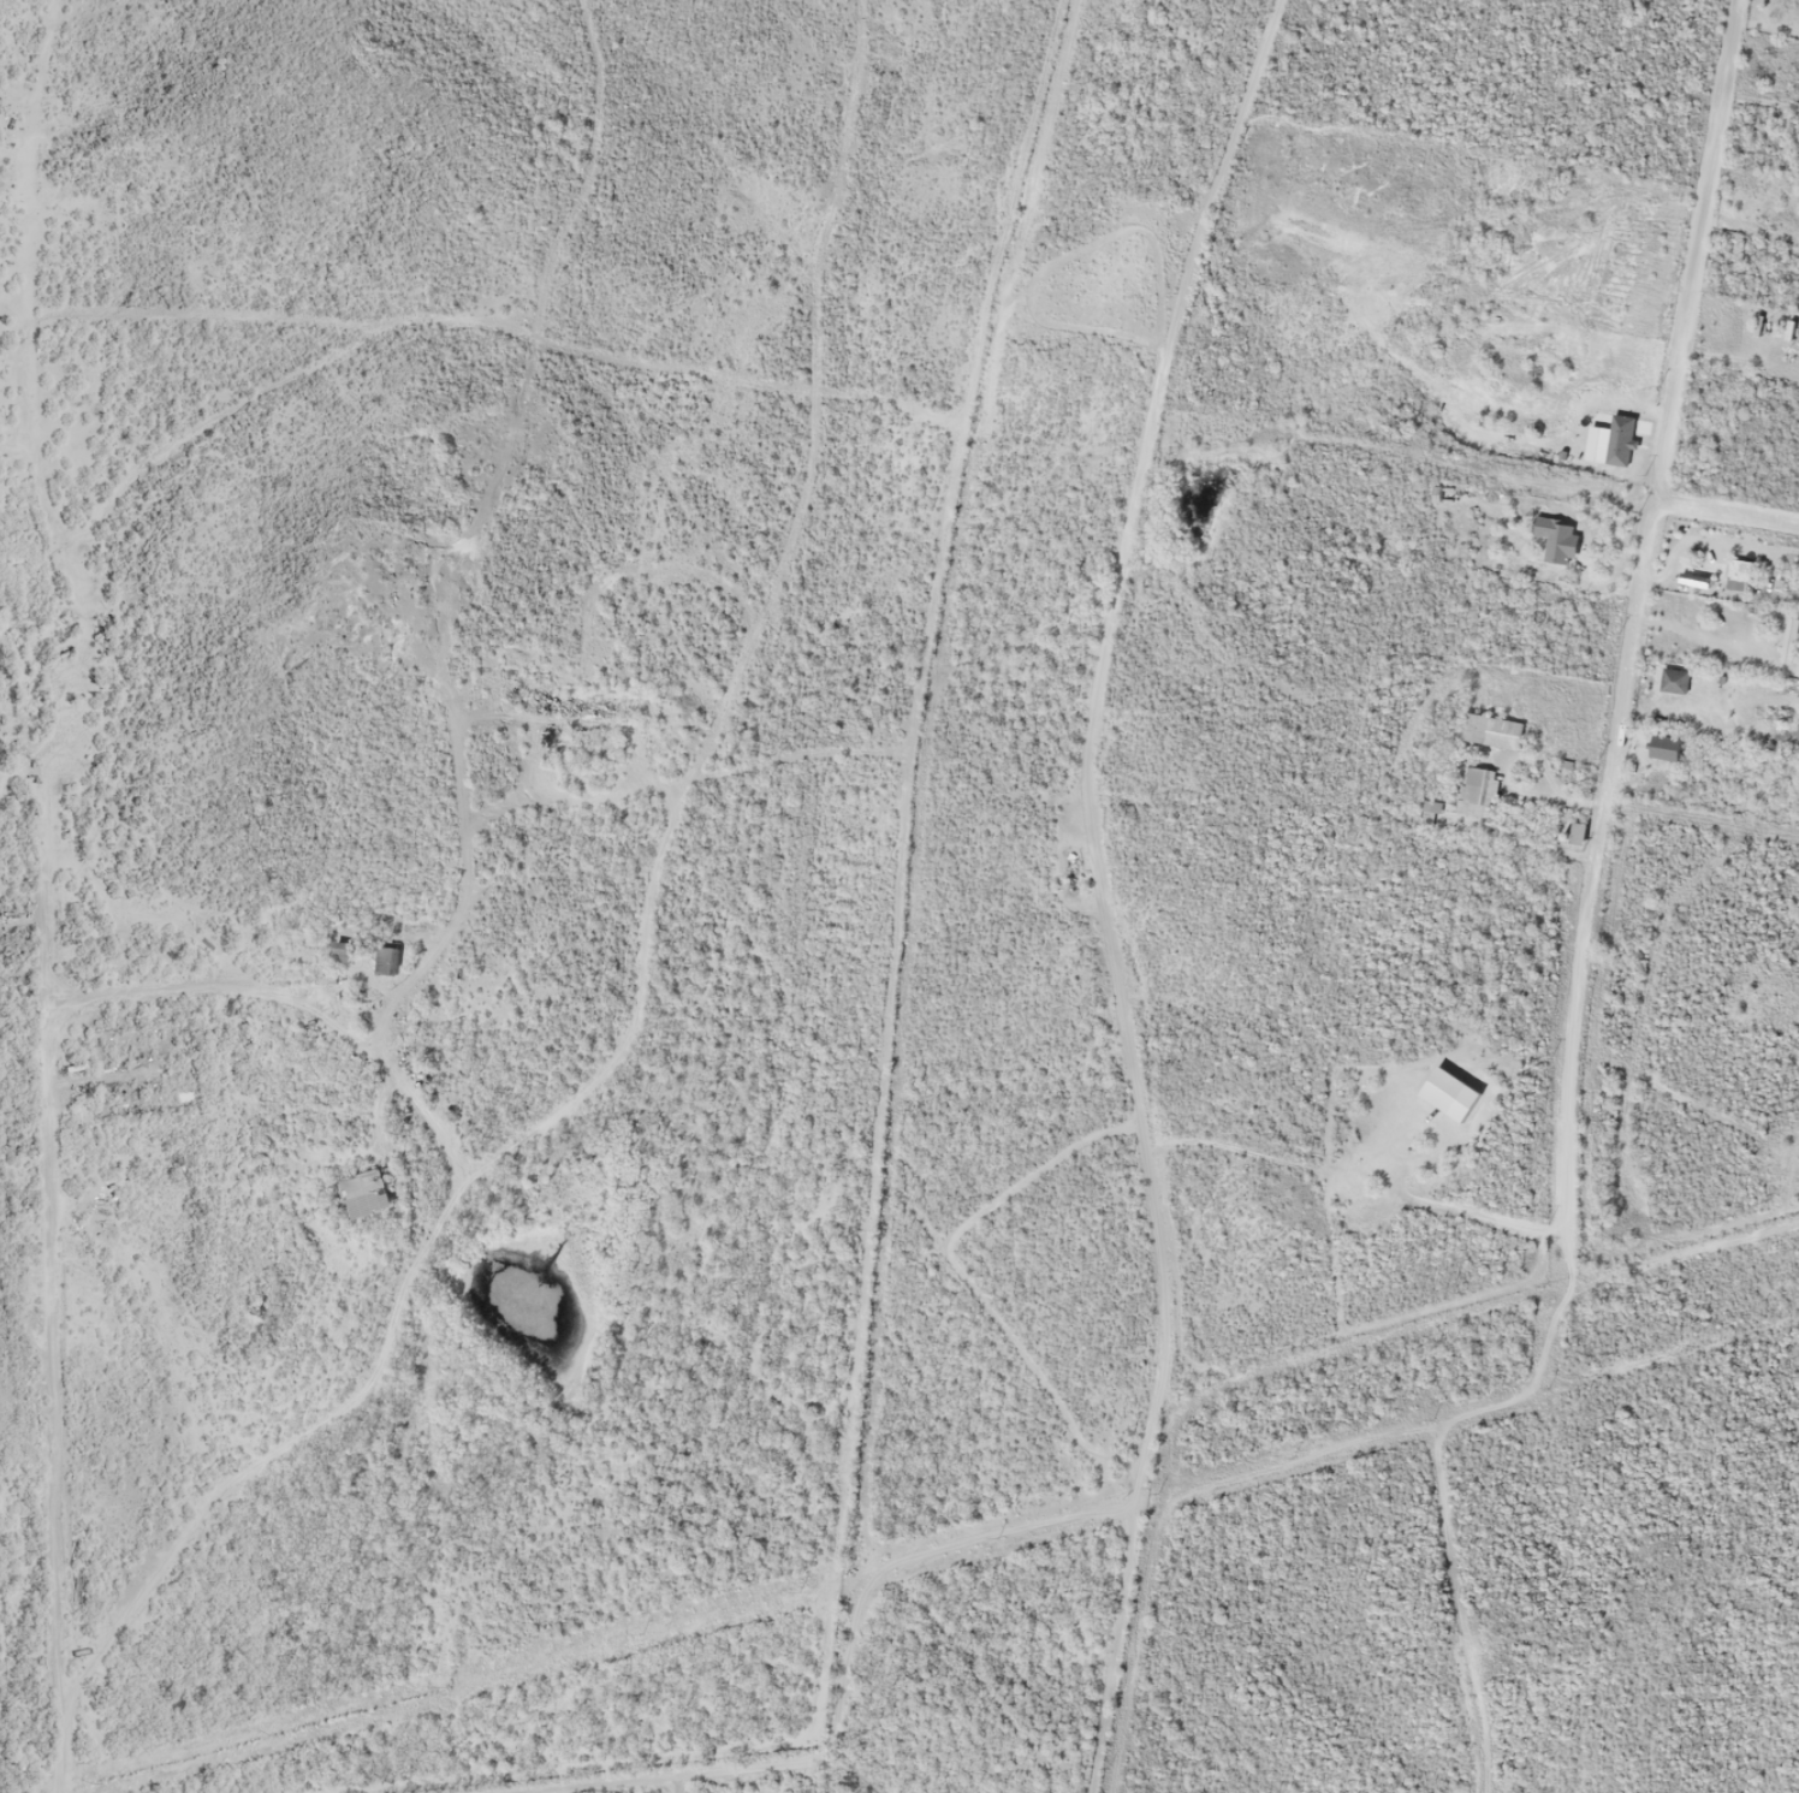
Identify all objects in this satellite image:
road: (1668, 410)
road: (1726, 513)
building: (1558, 548)
building: (1738, 576)
building: (1788, 641)
building: (1672, 682)
building: (1490, 731)
building: (1663, 747)
building: (1473, 784)
building: (1427, 808)
building: (1574, 832)

